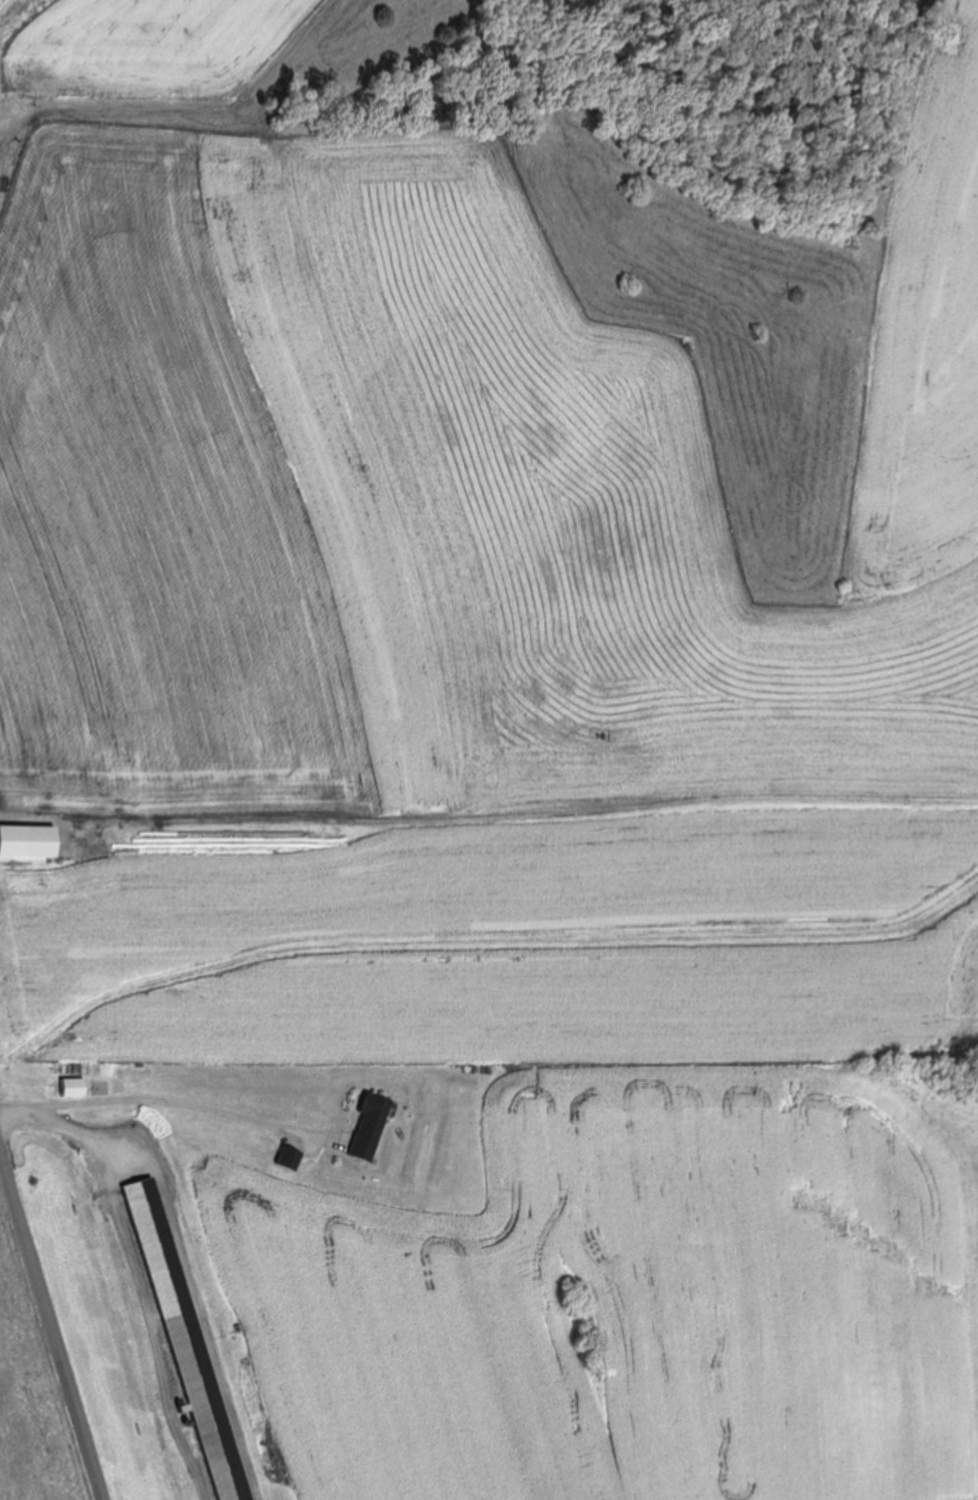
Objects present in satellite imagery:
building: (72, 1085)
road: (163, 1102)
building: (369, 1125)
road: (48, 1331)
building: (187, 1339)

